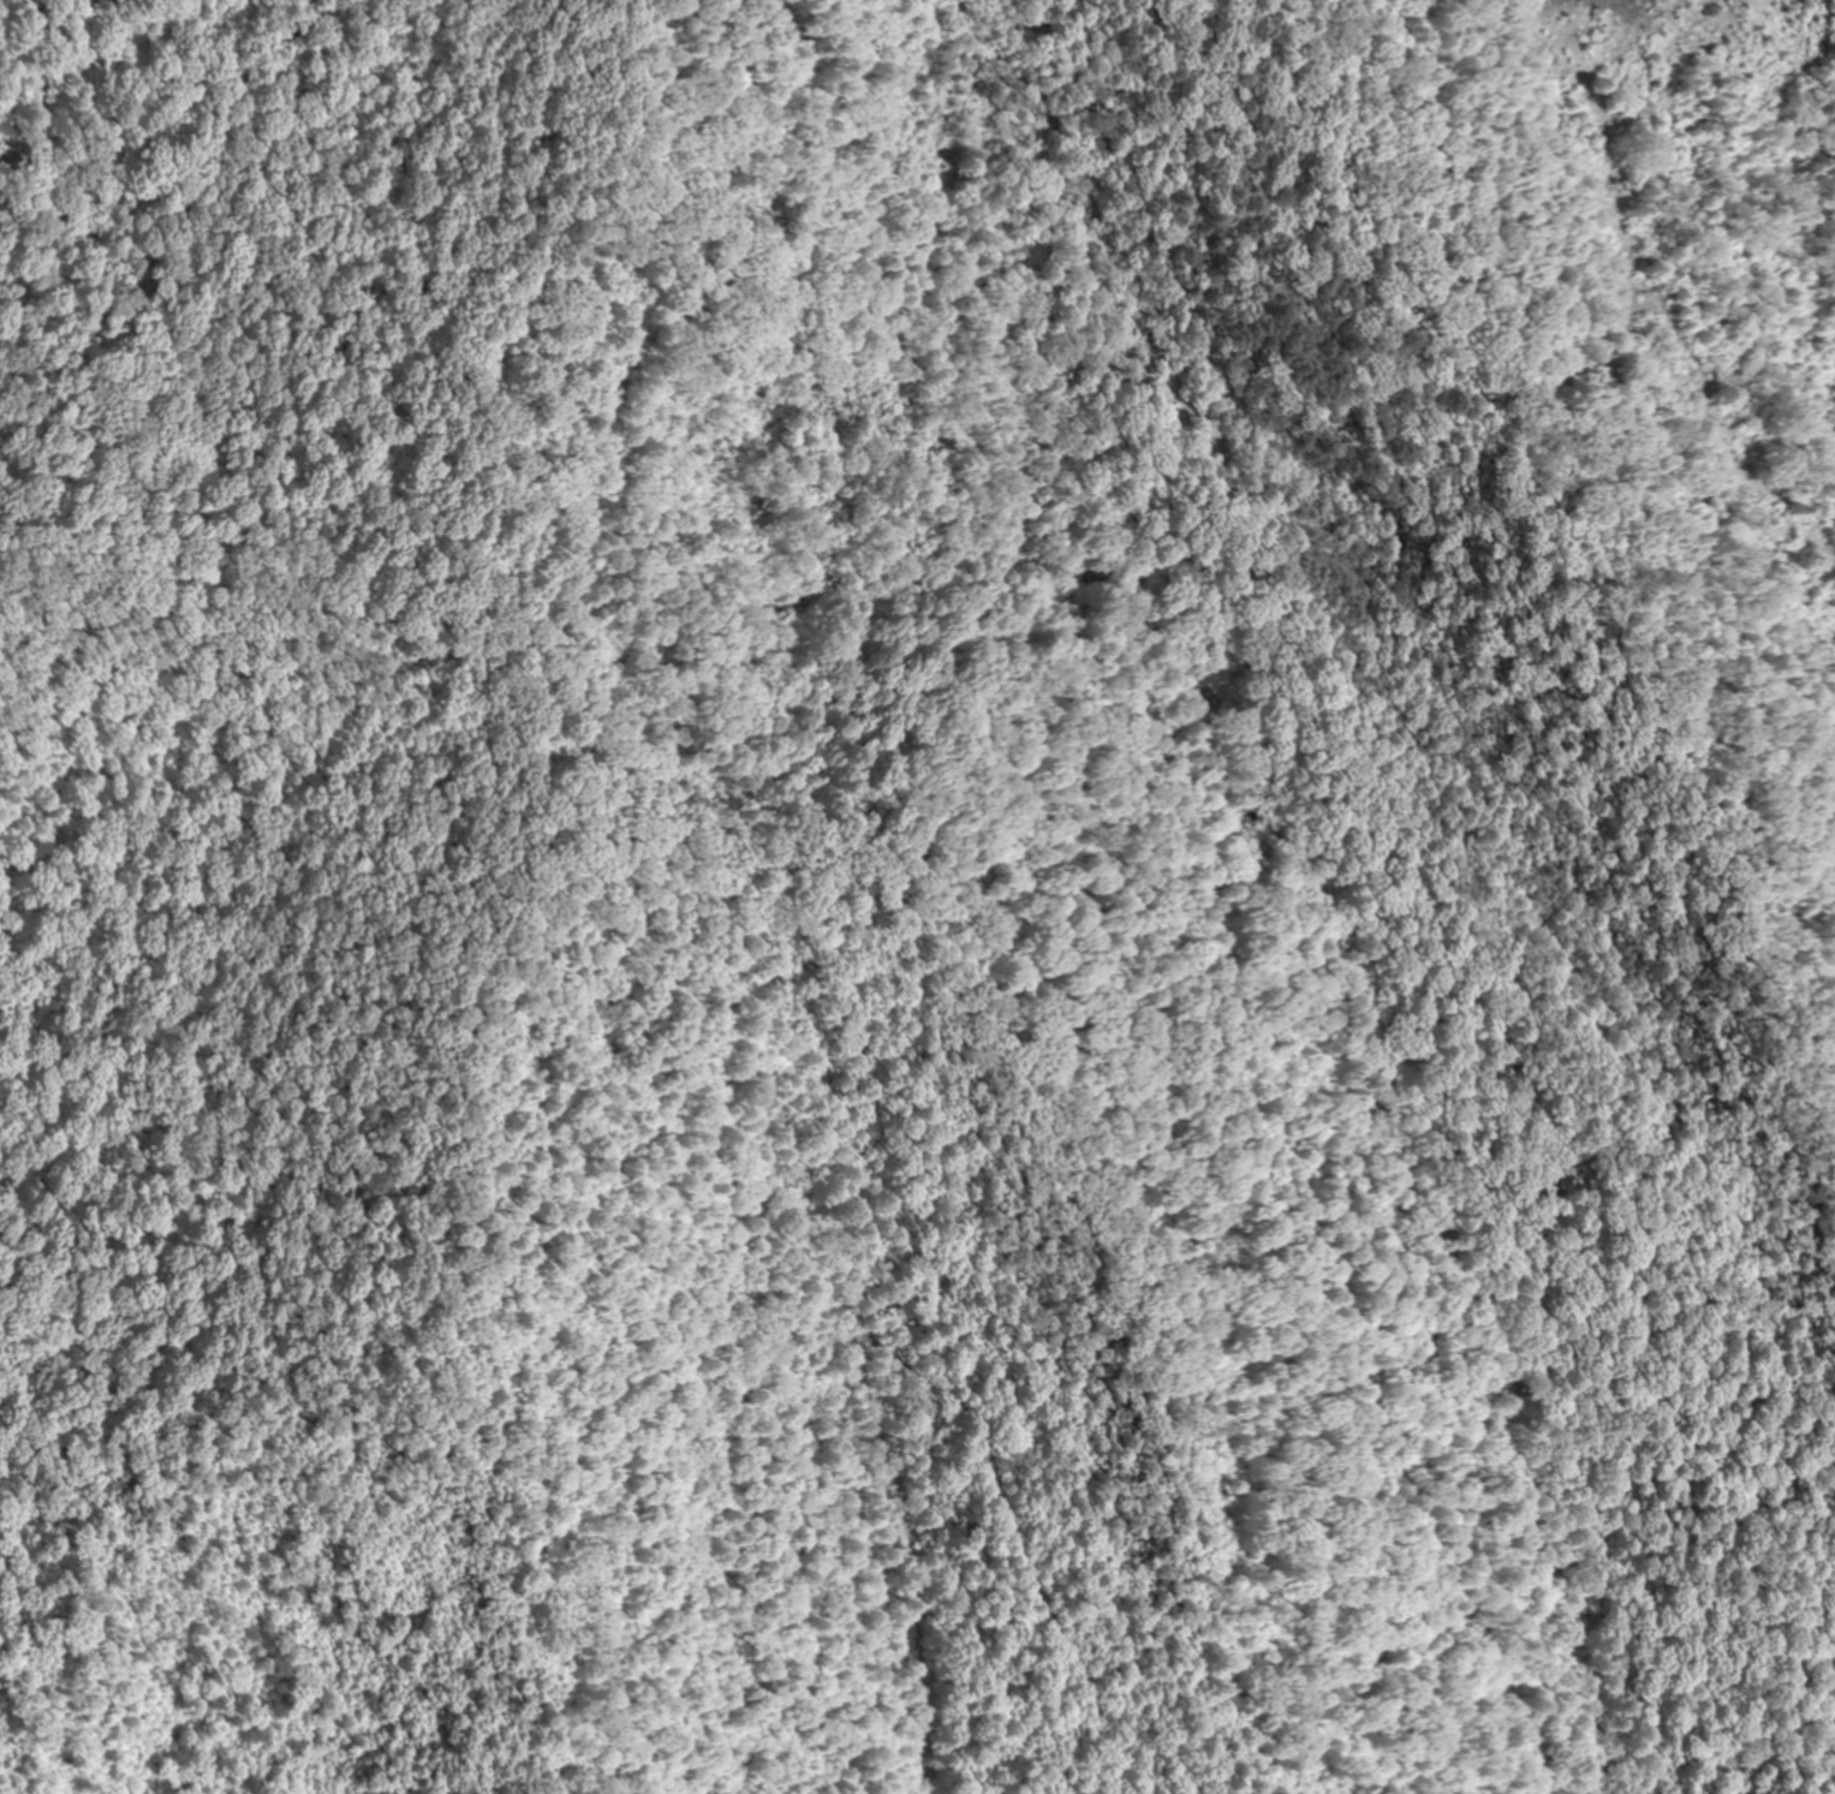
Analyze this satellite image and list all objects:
road: (189, 851)

